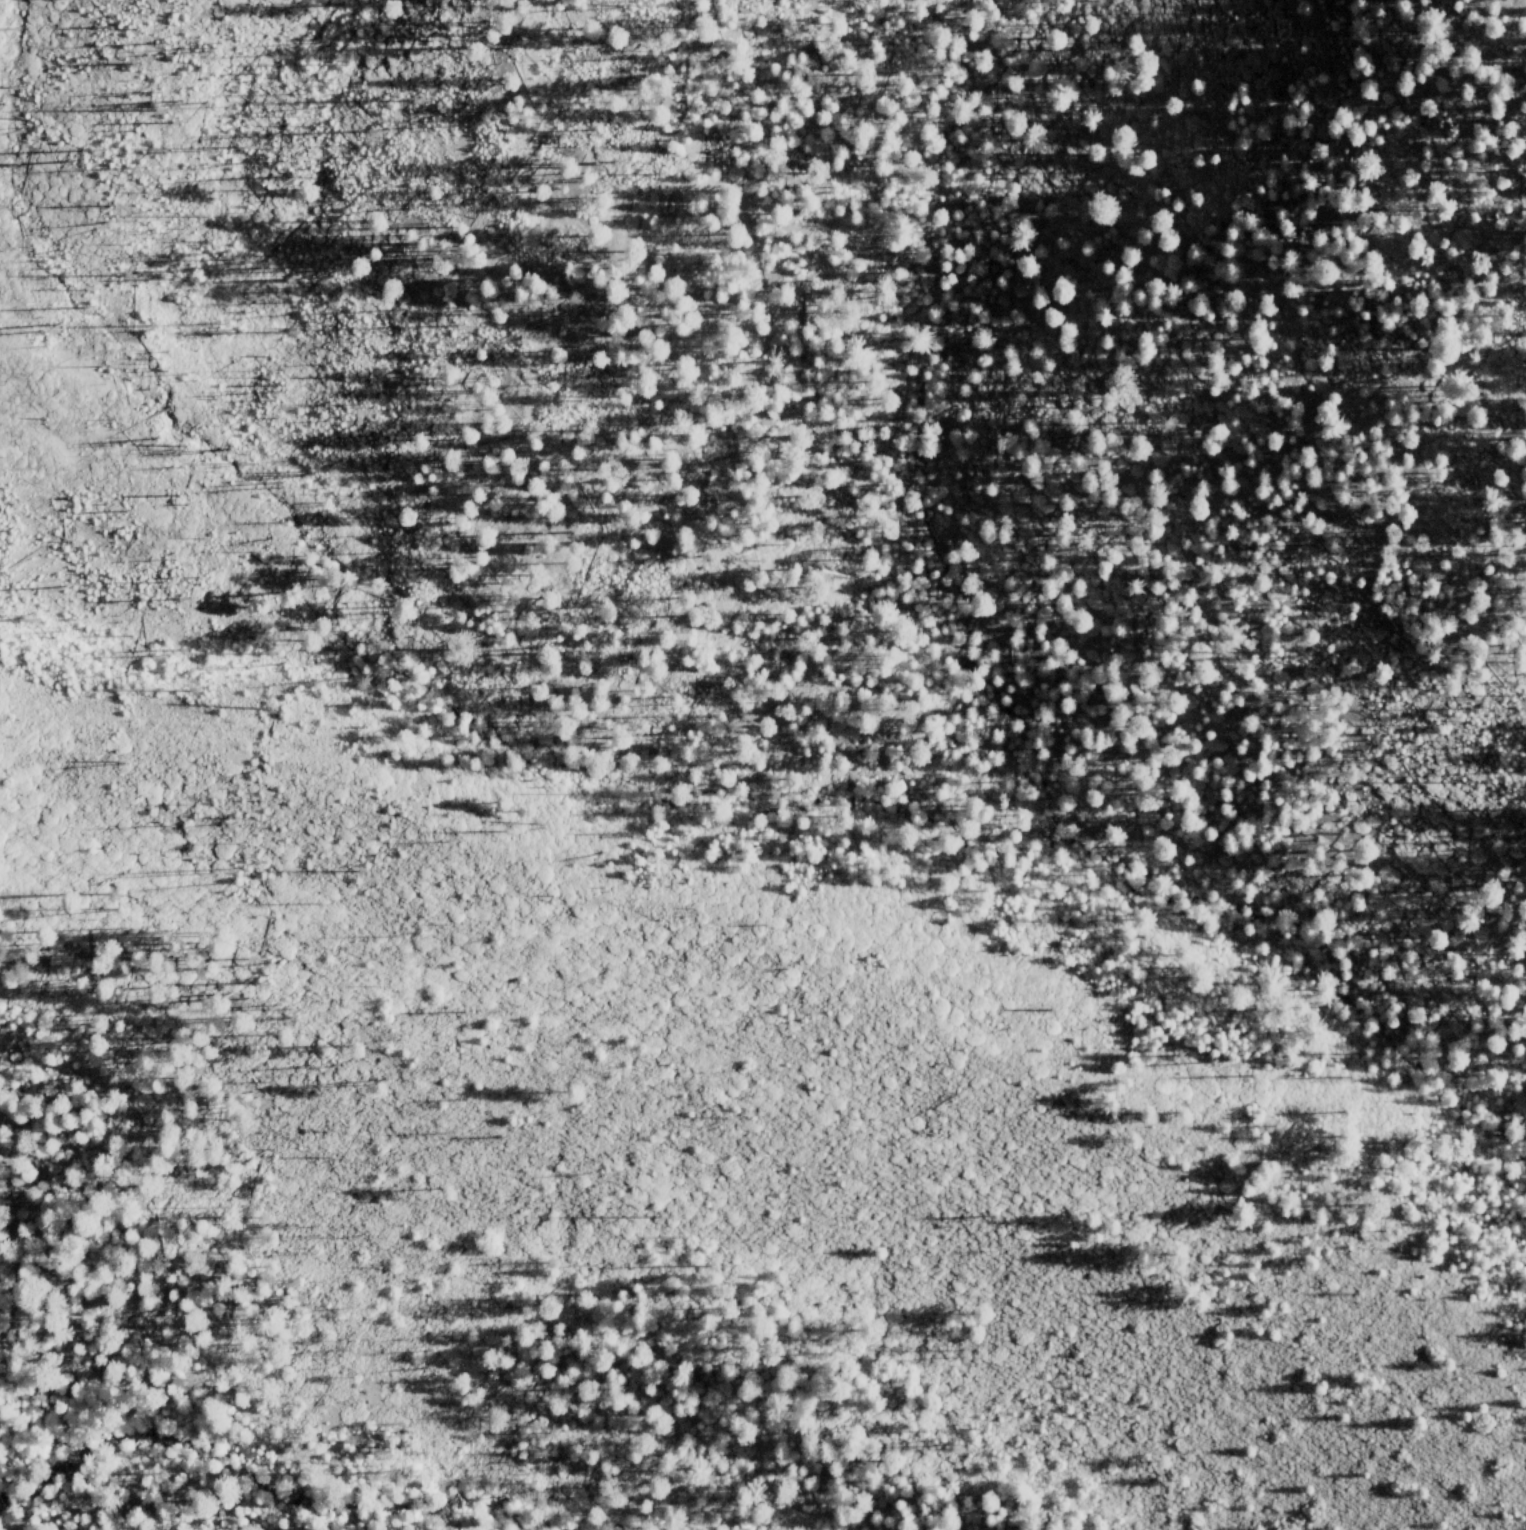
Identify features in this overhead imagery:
road: (426, 1443)

